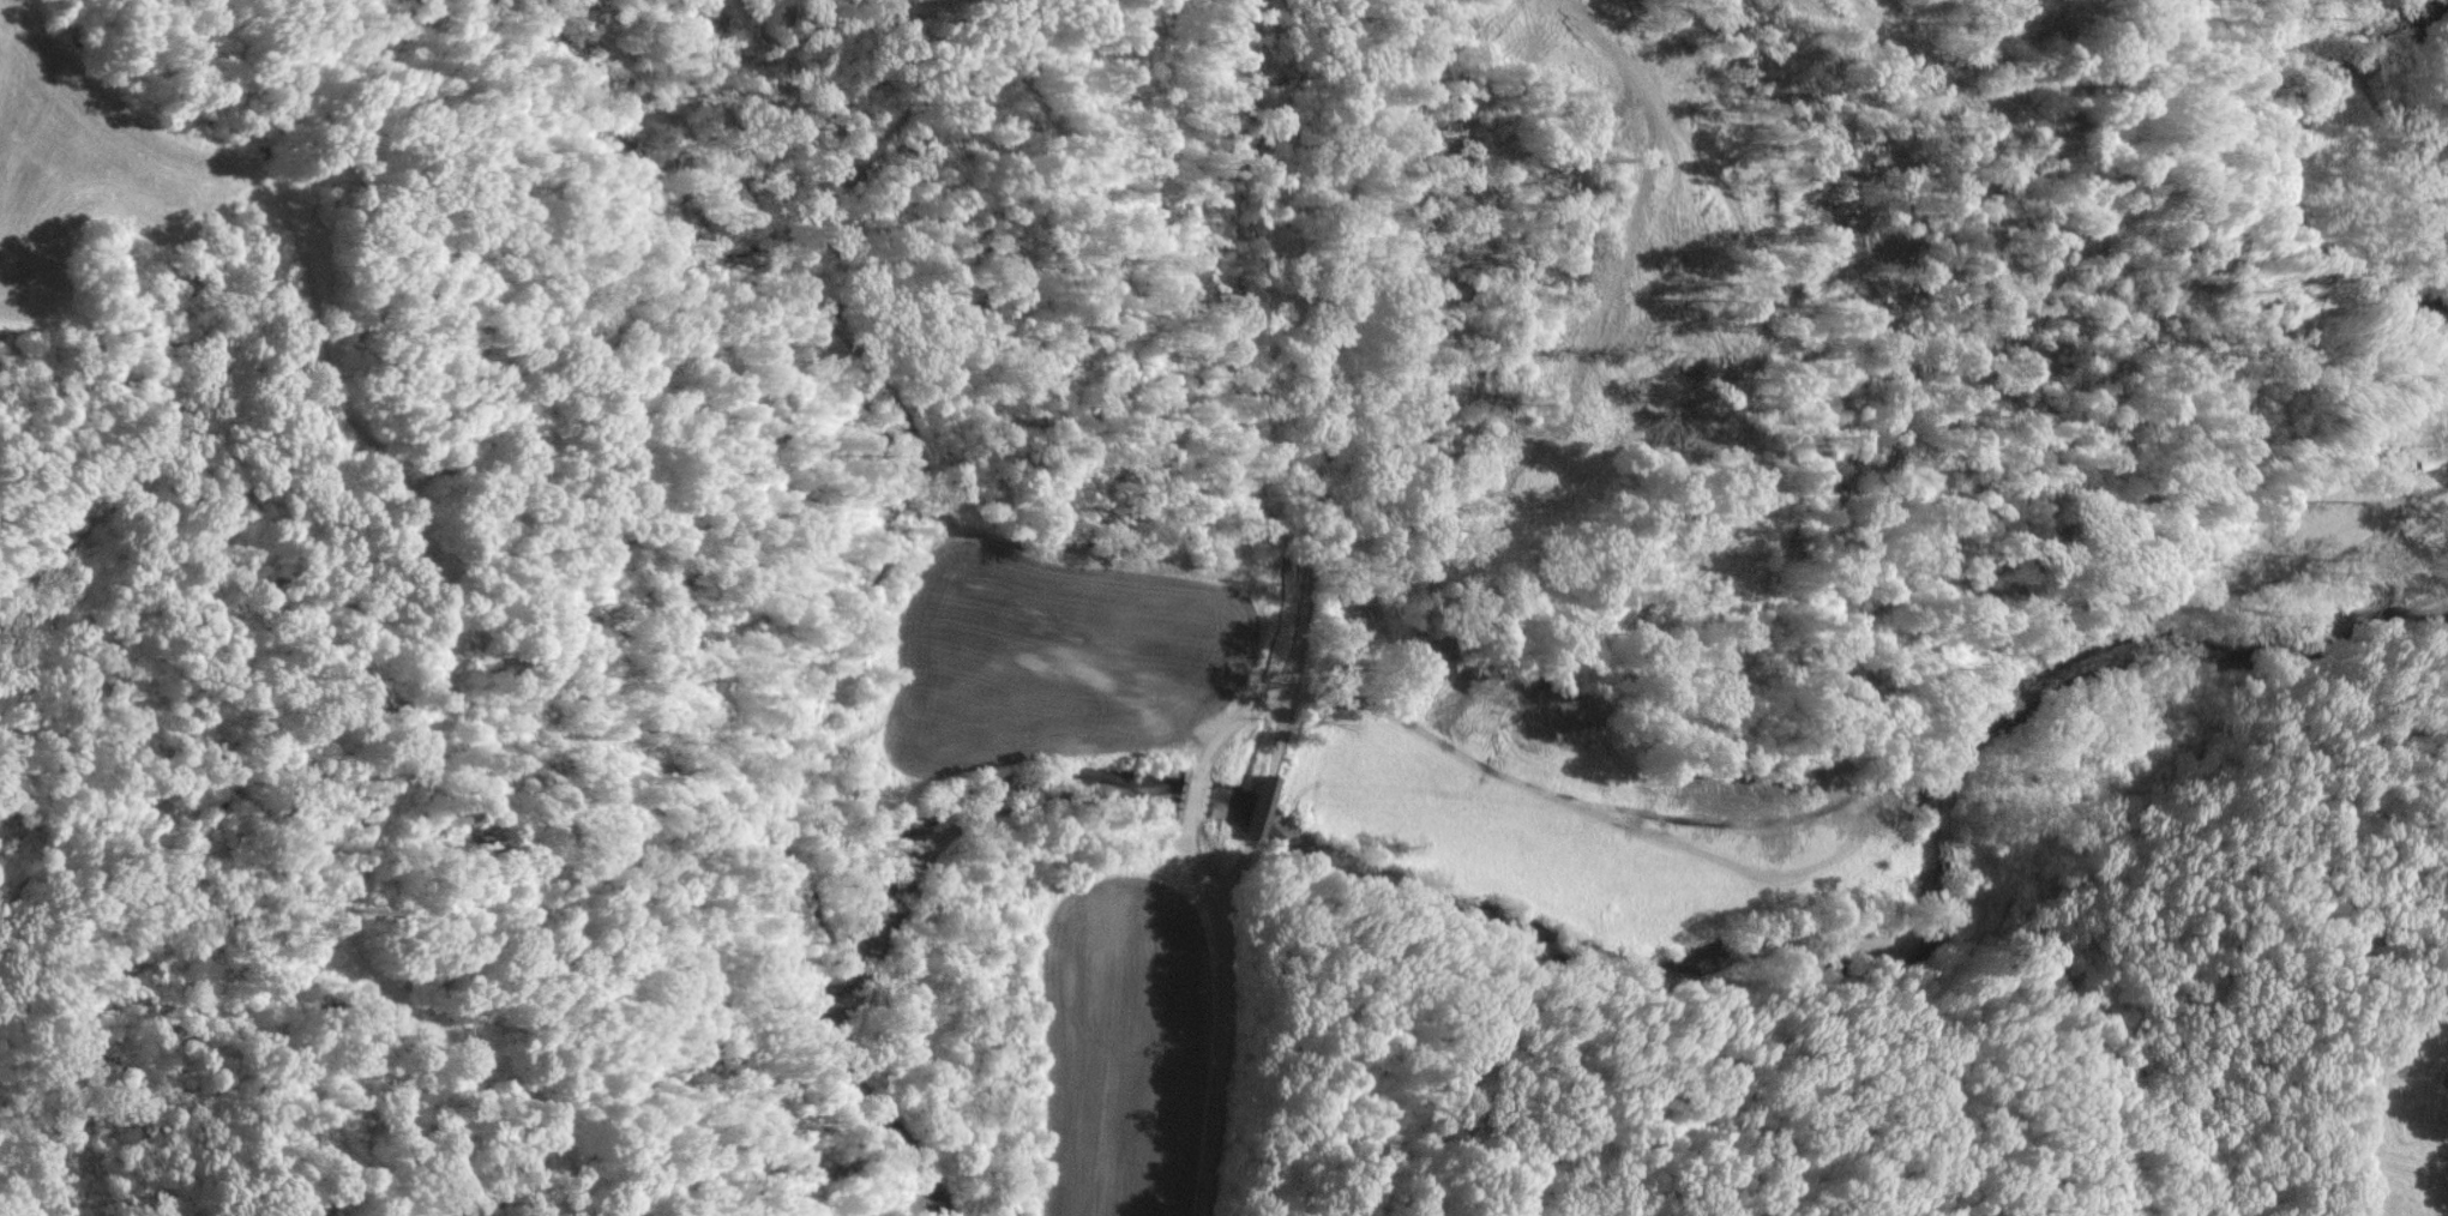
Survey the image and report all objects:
road: (1322, 385)
road: (1237, 722)
road: (1262, 805)
building: (1256, 806)
road: (1202, 872)
road: (1227, 1024)

